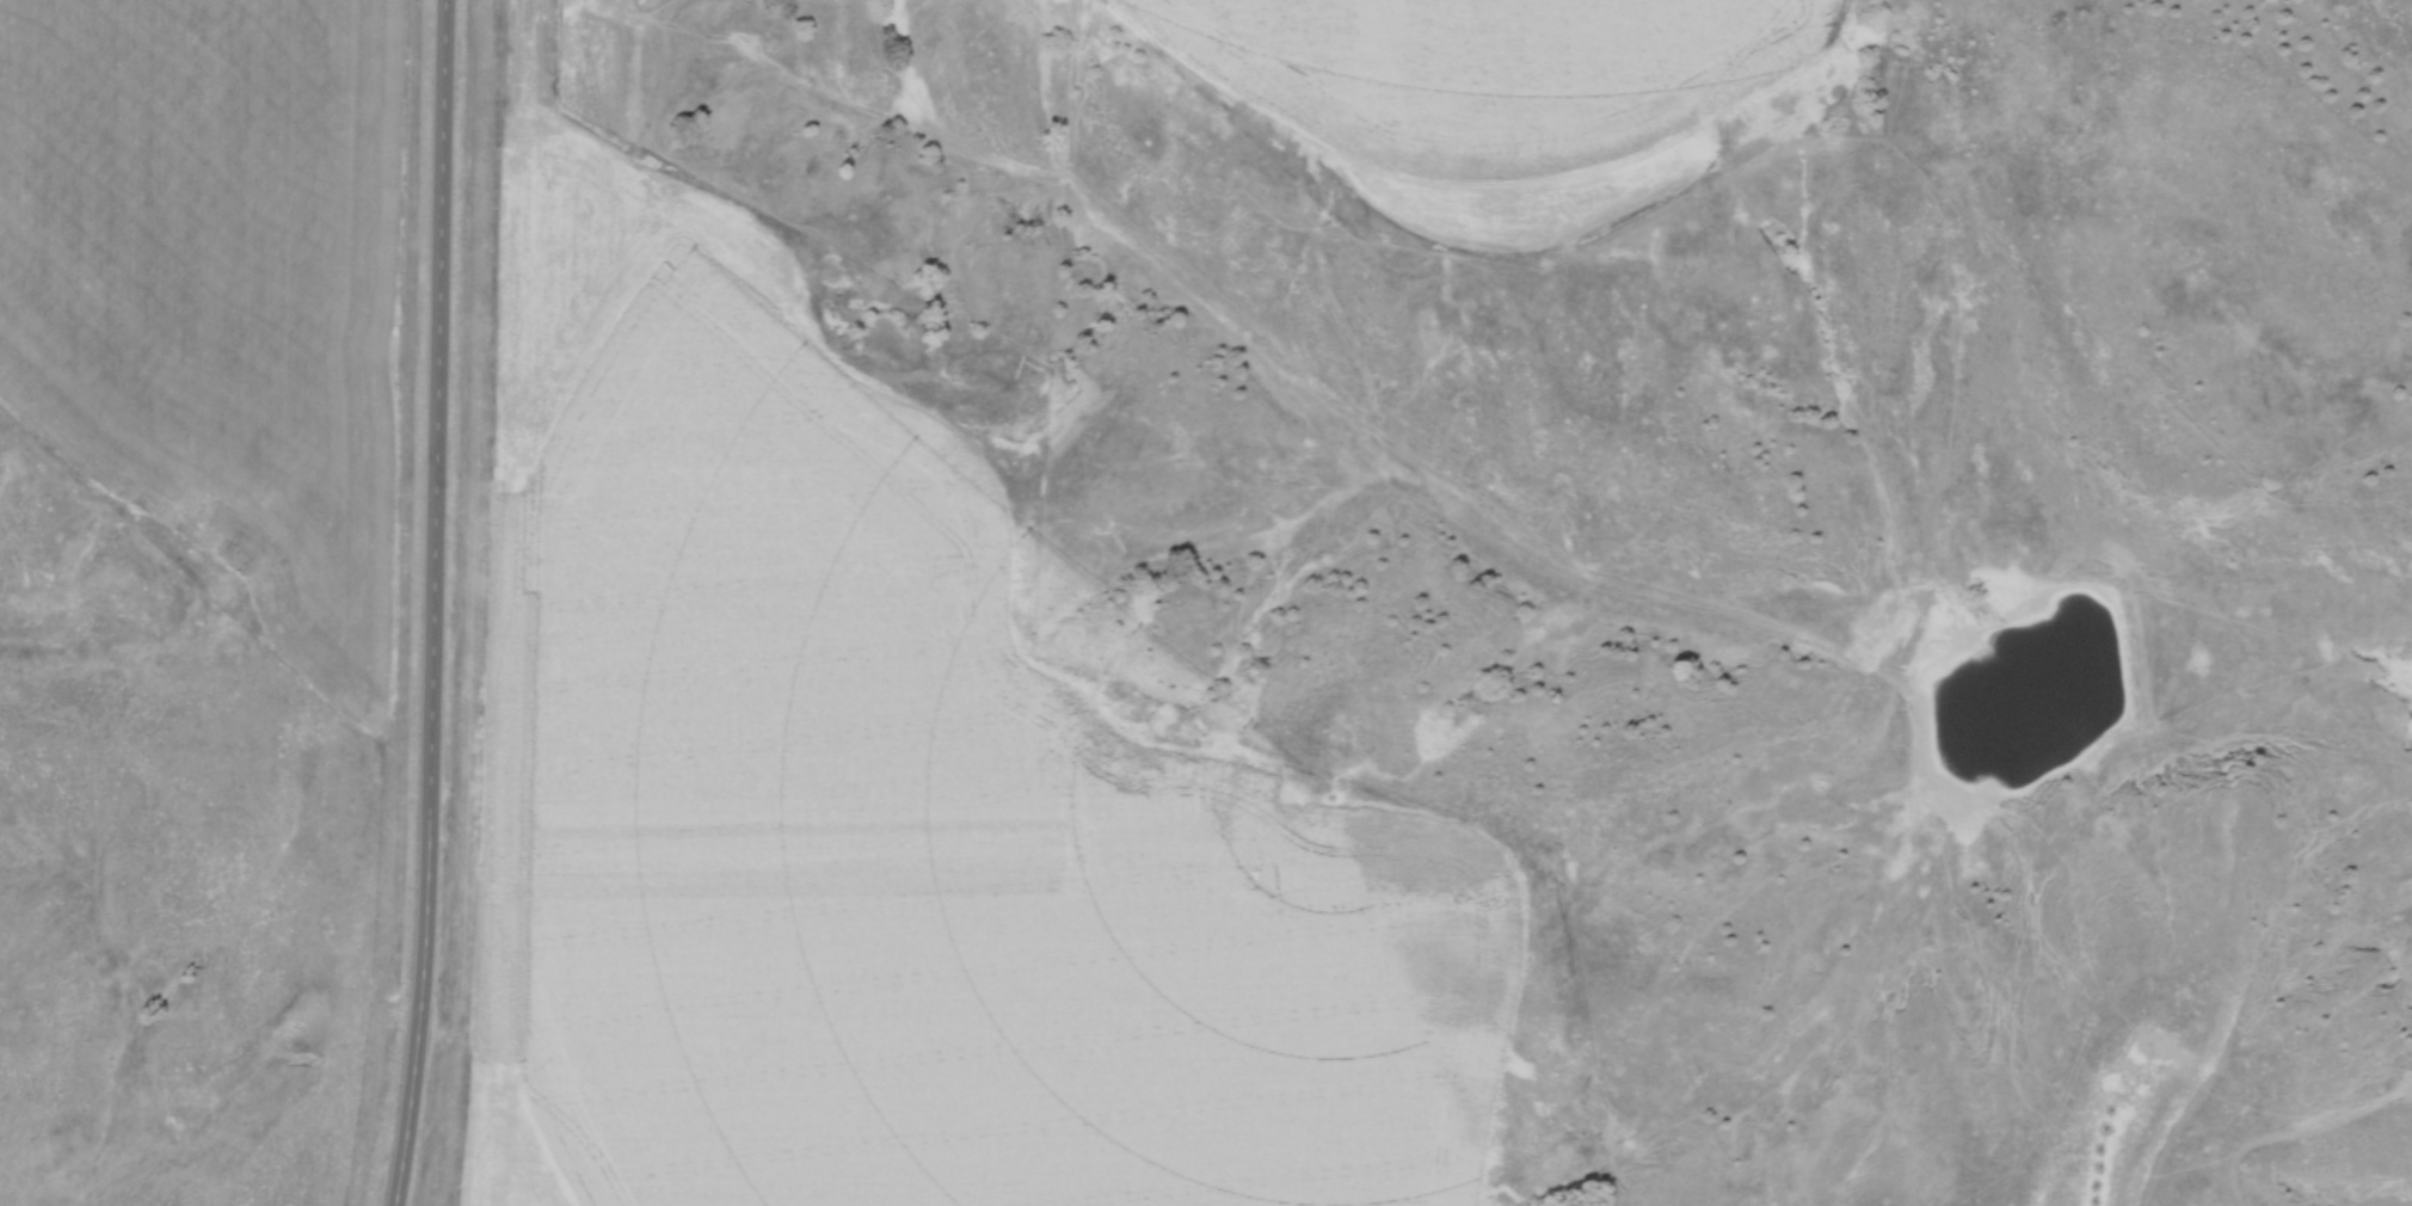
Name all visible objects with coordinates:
crop: (1852, 4)
crop: (1499, 57)
building: (552, 88)
crop: (221, 283)
road: (439, 603)

